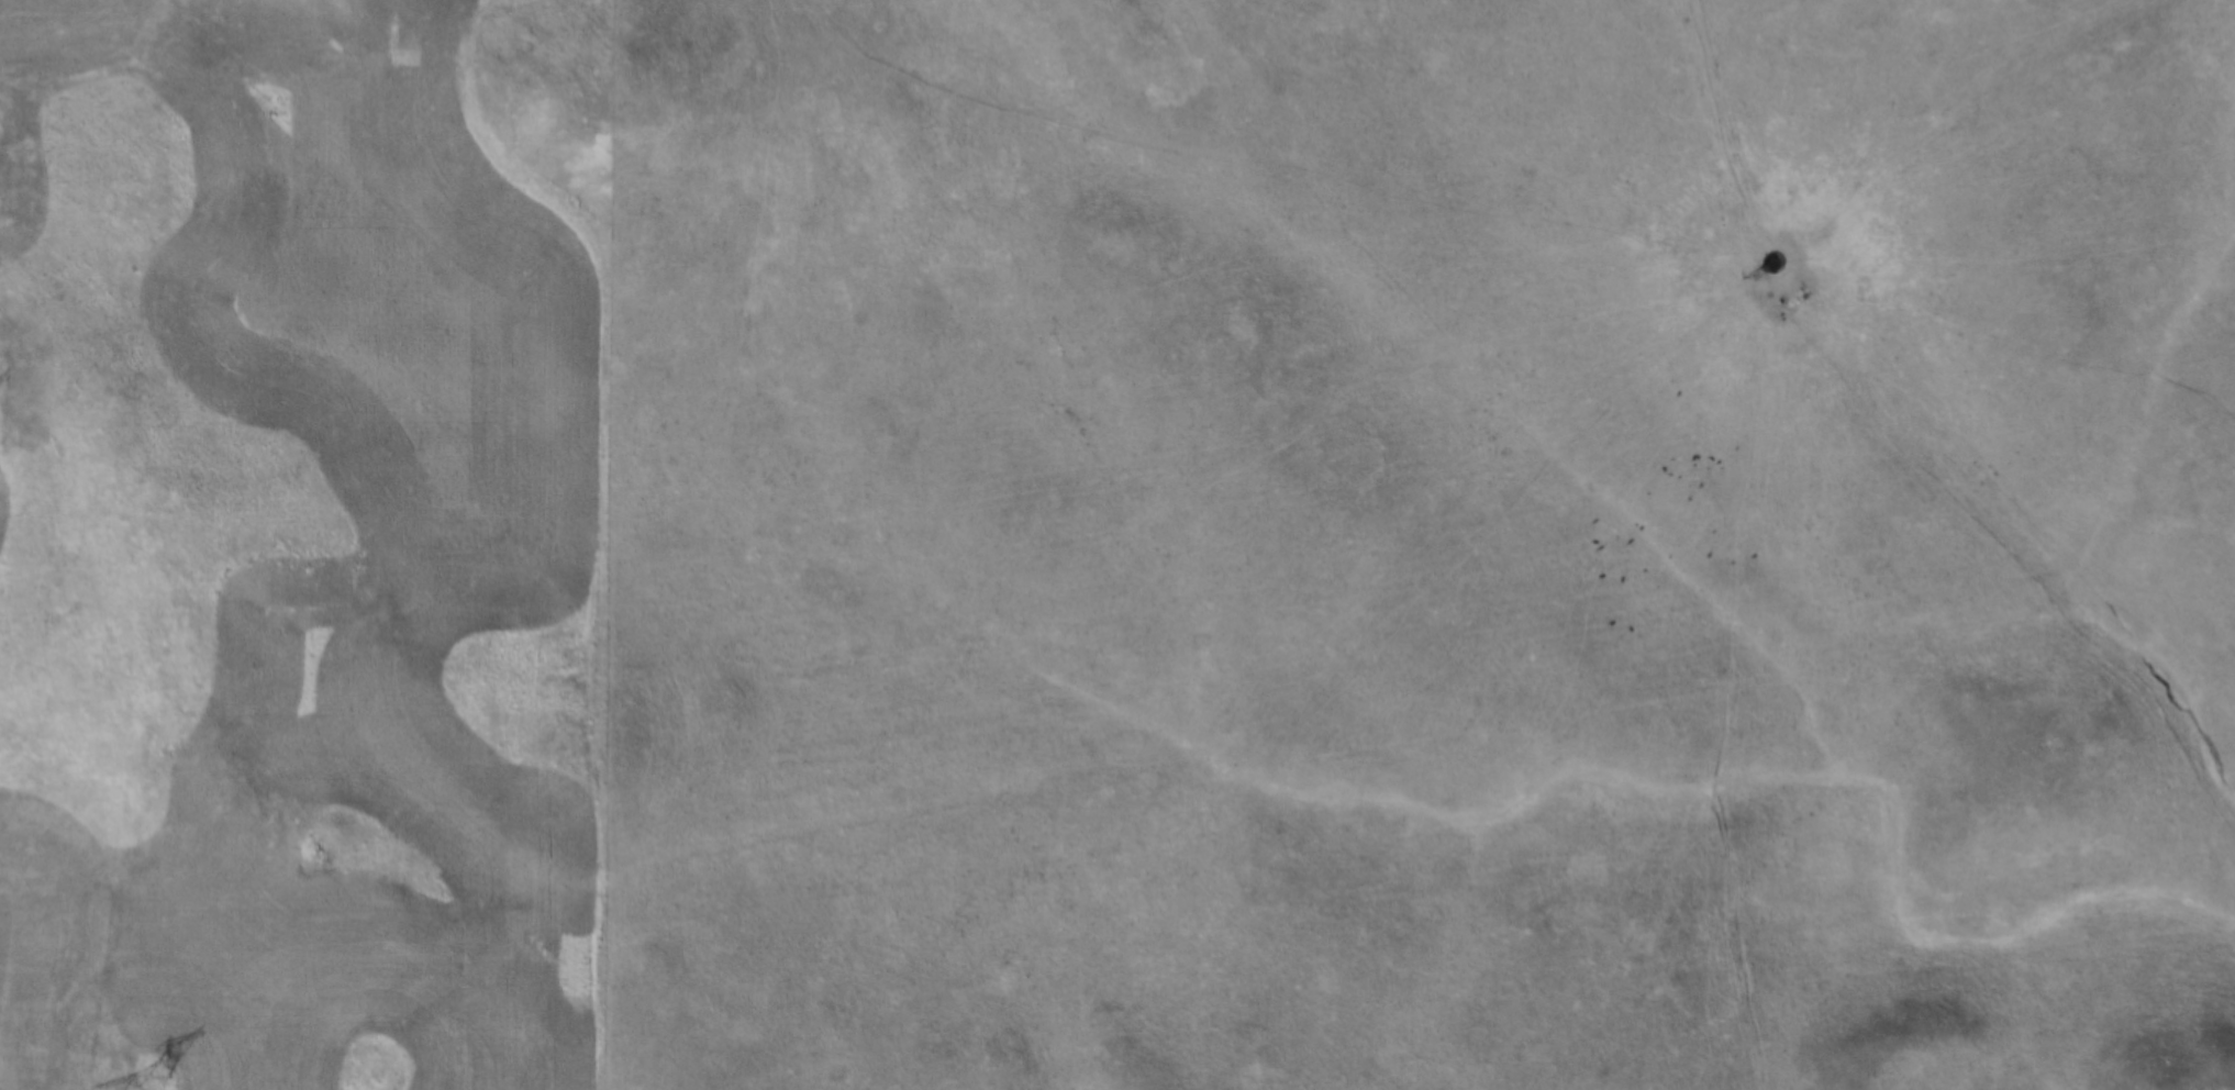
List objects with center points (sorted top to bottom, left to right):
road: (1421, 202)
power tower: (157, 1089)

